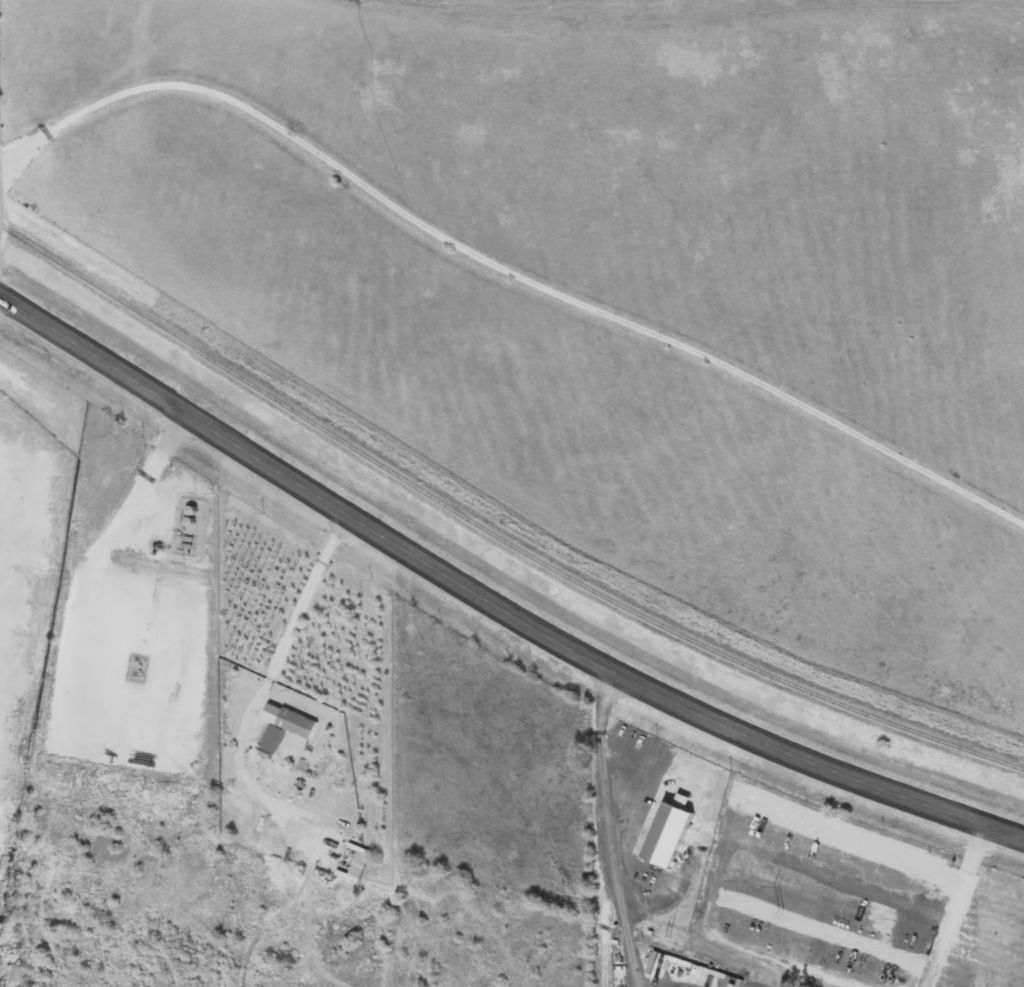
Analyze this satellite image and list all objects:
road: (504, 273)
road: (29, 390)
railway: (493, 533)
road: (493, 604)
road: (274, 635)
building: (288, 728)
road: (600, 829)
road: (873, 851)
building: (663, 958)
road: (636, 986)
road: (641, 986)

